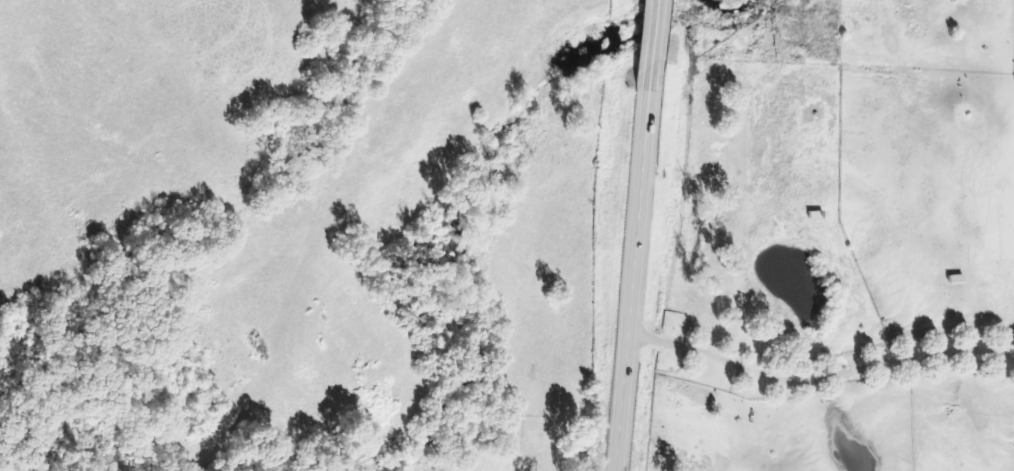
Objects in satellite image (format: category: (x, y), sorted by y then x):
road: (634, 235)
road: (818, 377)

